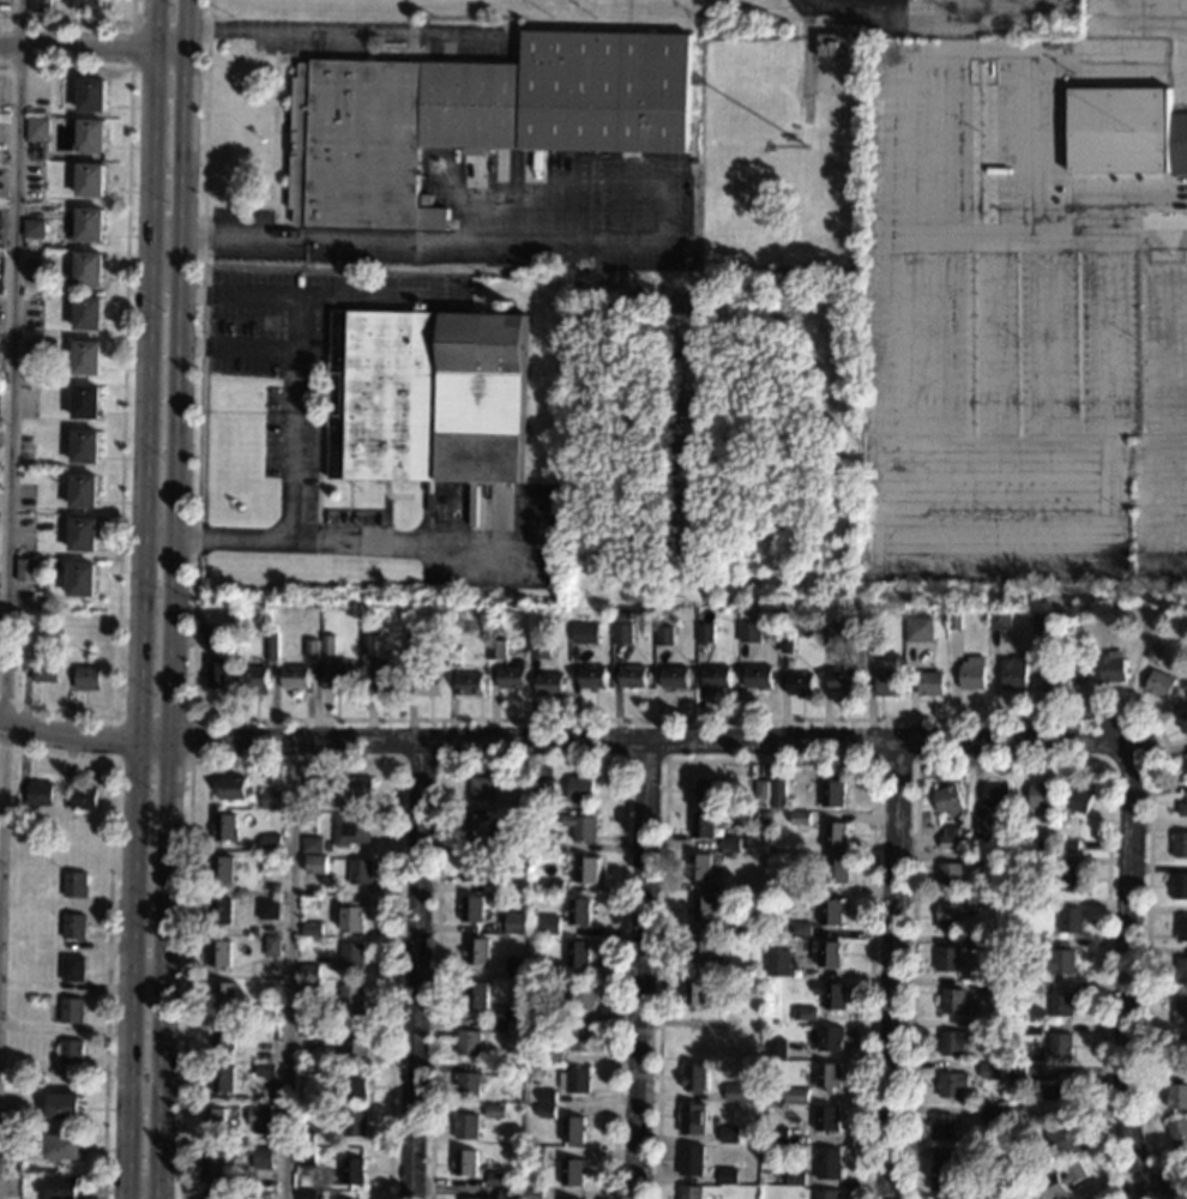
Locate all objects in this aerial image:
building: (90, 4)
building: (38, 6)
road: (1164, 11)
road: (1138, 23)
road: (78, 25)
parking lot: (1146, 30)
road: (349, 32)
building: (832, 44)
road: (92, 47)
road: (962, 52)
road: (145, 71)
building: (91, 95)
building: (476, 116)
building: (36, 128)
building: (808, 131)
building: (1126, 131)
building: (91, 134)
road: (1030, 149)
building: (44, 150)
building: (807, 152)
building: (89, 179)
building: (86, 225)
building: (32, 228)
road: (165, 239)
road: (556, 247)
building: (88, 267)
building: (953, 273)
building: (88, 312)
parking lot: (994, 317)
road: (983, 345)
road: (1047, 345)
parking lot: (1149, 348)
road: (239, 349)
building: (85, 357)
road: (296, 360)
road: (121, 385)
building: (429, 397)
building: (84, 400)
road: (10, 402)
road: (1165, 416)
building: (30, 429)
road: (1150, 444)
building: (83, 446)
road: (1111, 456)
building: (82, 490)
road: (1173, 492)
road: (159, 532)
building: (83, 534)
road: (356, 541)
road: (1005, 564)
building: (25, 570)
building: (80, 579)
road: (140, 599)
road: (174, 599)
building: (242, 610)
building: (378, 615)
building: (623, 616)
building: (825, 619)
building: (954, 619)
building: (1000, 619)
building: (1038, 619)
building: (201, 628)
building: (920, 629)
building: (749, 632)
building: (584, 633)
building: (622, 633)
building: (705, 633)
building: (834, 634)
building: (664, 635)
building: (875, 640)
building: (785, 641)
building: (327, 644)
building: (368, 644)
building: (271, 645)
building: (415, 645)
building: (538, 649)
building: (311, 650)
building: (496, 650)
building: (1156, 652)
building: (453, 656)
building: (433, 663)
building: (1111, 665)
building: (43, 669)
building: (1013, 671)
building: (971, 673)
building: (217, 675)
building: (759, 675)
building: (1081, 675)
building: (342, 676)
building: (385, 676)
building: (511, 676)
building: (633, 676)
building: (717, 676)
building: (88, 677)
building: (295, 677)
building: (592, 677)
building: (675, 677)
building: (254, 679)
building: (1054, 679)
building: (843, 680)
building: (427, 683)
building: (469, 683)
building: (549, 683)
building: (800, 683)
building: (888, 683)
building: (930, 683)
building: (1159, 683)
road: (559, 718)
building: (1183, 722)
road: (561, 743)
road: (113, 759)
road: (665, 759)
road: (875, 759)
road: (1017, 759)
road: (293, 760)
road: (439, 760)
road: (531, 760)
road: (770, 760)
building: (1186, 770)
road: (1131, 777)
building: (233, 788)
building: (339, 788)
building: (482, 788)
building: (580, 788)
building: (543, 789)
building: (706, 790)
building: (761, 790)
building: (40, 793)
building: (778, 794)
building: (832, 794)
building: (995, 794)
building: (522, 795)
building: (83, 797)
building: (271, 799)
building: (948, 800)
building: (1043, 800)
building: (1078, 801)
building: (1182, 809)
building: (764, 817)
building: (800, 818)
building: (960, 823)
building: (1023, 823)
building: (703, 824)
building: (977, 825)
building: (225, 827)
building: (580, 827)
building: (478, 829)
building: (351, 830)
building: (836, 835)
building: (951, 838)
building: (270, 842)
building: (730, 843)
building: (312, 844)
building: (508, 844)
building: (541, 844)
building: (1068, 844)
building: (1180, 844)
building: (326, 845)
building: (259, 857)
building: (1040, 860)
building: (317, 864)
building: (699, 866)
building: (471, 867)
building: (221, 868)
building: (836, 868)
building: (586, 869)
building: (361, 872)
building: (951, 874)
building: (1072, 878)
building: (76, 884)
building: (806, 885)
building: (553, 886)
building: (1179, 886)
building: (730, 890)
building: (977, 900)
building: (1038, 900)
building: (267, 908)
building: (471, 908)
building: (703, 908)
building: (219, 911)
building: (578, 911)
building: (831, 911)
building: (532, 912)
building: (351, 916)
building: (947, 916)
building: (1071, 918)
road: (108, 923)
building: (550, 924)
building: (74, 926)
building: (518, 926)
building: (504, 927)
building: (801, 928)
building: (1182, 928)
building: (312, 929)
building: (731, 929)
building: (264, 930)
building: (1035, 942)
building: (272, 946)
building: (476, 951)
building: (704, 951)
building: (827, 952)
building: (219, 953)
building: (577, 953)
building: (958, 953)
building: (351, 954)
building: (1055, 962)
building: (778, 963)
building: (516, 965)
building: (73, 968)
building: (505, 969)
building: (309, 970)
building: (548, 970)
building: (729, 970)
road: (893, 970)
building: (1181, 970)
road: (288, 971)
road: (415, 971)
road: (643, 971)
road: (1126, 975)
building: (983, 984)
building: (1035, 986)
building: (308, 987)
building: (752, 988)
building: (694, 993)
building: (476, 994)
building: (832, 994)
building: (224, 995)
building: (578, 995)
building: (350, 998)
building: (46, 999)
building: (957, 1002)
building: (1062, 1004)
building: (754, 1008)
building: (72, 1010)
building: (514, 1011)
building: (266, 1012)
building: (552, 1012)
building: (805, 1013)
building: (1181, 1013)
building: (706, 1023)
building: (982, 1025)
building: (499, 1026)
building: (1032, 1026)
building: (309, 1028)
building: (223, 1037)
building: (580, 1038)
building: (831, 1038)
building: (468, 1042)
building: (953, 1042)
building: (1061, 1044)
building: (355, 1046)
building: (777, 1048)
building: (71, 1052)
building: (265, 1054)
building: (1176, 1054)
building: (554, 1055)
building: (495, 1068)
building: (264, 1070)
building: (307, 1070)
building: (990, 1070)
building: (1017, 1072)
building: (829, 1076)
building: (695, 1077)
building: (221, 1079)
building: (576, 1079)
building: (468, 1083)
building: (952, 1084)
building: (355, 1086)
building: (1060, 1087)
building: (737, 1092)
building: (547, 1095)
building: (796, 1095)
building: (1177, 1096)
building: (65, 1105)
building: (494, 1110)
building: (547, 1110)
building: (1017, 1111)
building: (993, 1114)
building: (259, 1115)
building: (827, 1117)
building: (692, 1119)
building: (12, 1120)
building: (215, 1120)
building: (354, 1123)
building: (465, 1126)
building: (945, 1126)
building: (573, 1128)
building: (1179, 1132)
building: (729, 1134)
building: (779, 1134)
building: (303, 1137)
building: (1065, 1140)
building: (1011, 1143)
building: (64, 1146)
building: (305, 1156)
building: (257, 1157)
building: (534, 1157)
building: (692, 1159)
building: (974, 1159)
building: (465, 1162)
building: (212, 1163)
building: (830, 1163)
road: (1158, 1169)
building: (353, 1170)
building: (573, 1170)
building: (942, 1171)
building: (728, 1175)
building: (496, 1177)
building: (796, 1177)
building: (1061, 1181)
building: (62, 1187)
road: (1164, 1187)
building: (11, 1188)
building: (692, 1192)
building: (508, 1193)
building: (532, 1193)
building: (211, 1194)
building: (309, 1194)
building: (829, 1194)
building: (345, 1198)
building: (468, 1198)
building: (562, 1198)
building: (941, 1198)
building: (1023, 1198)

